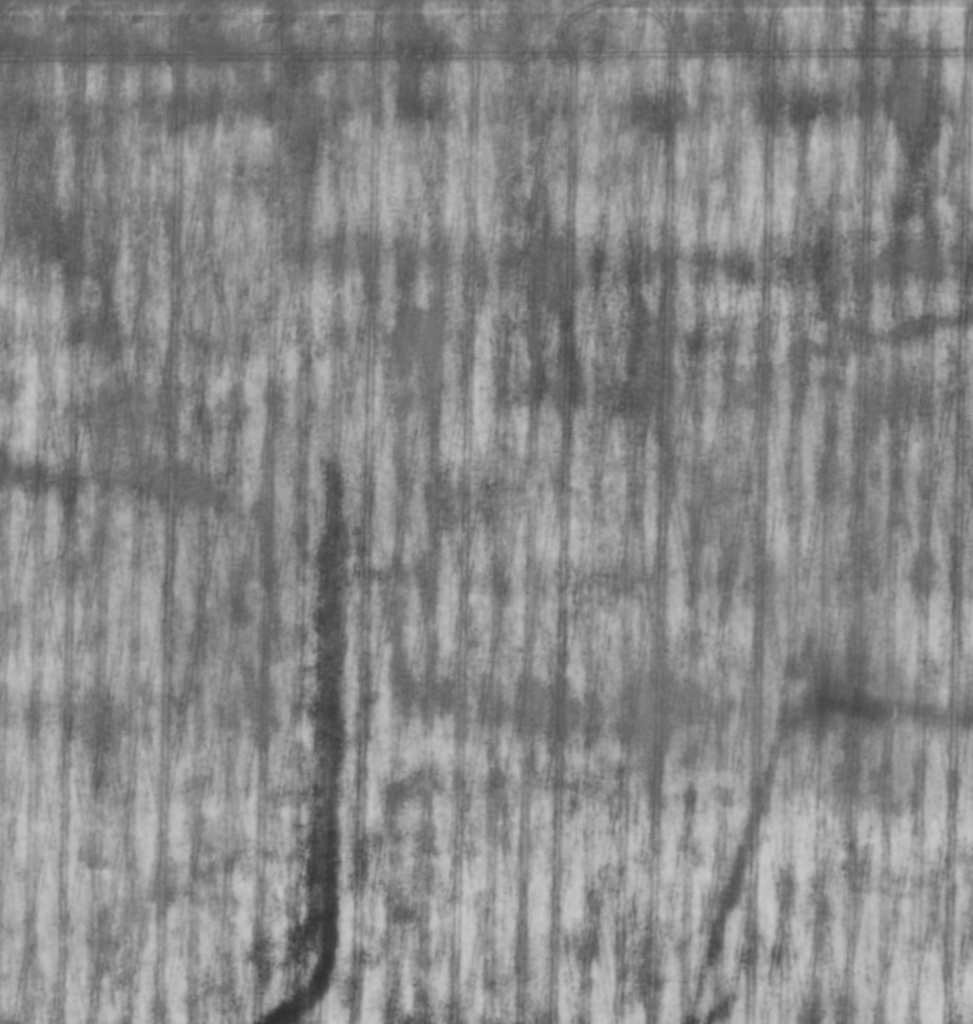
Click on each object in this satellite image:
crop: (486, 512)

